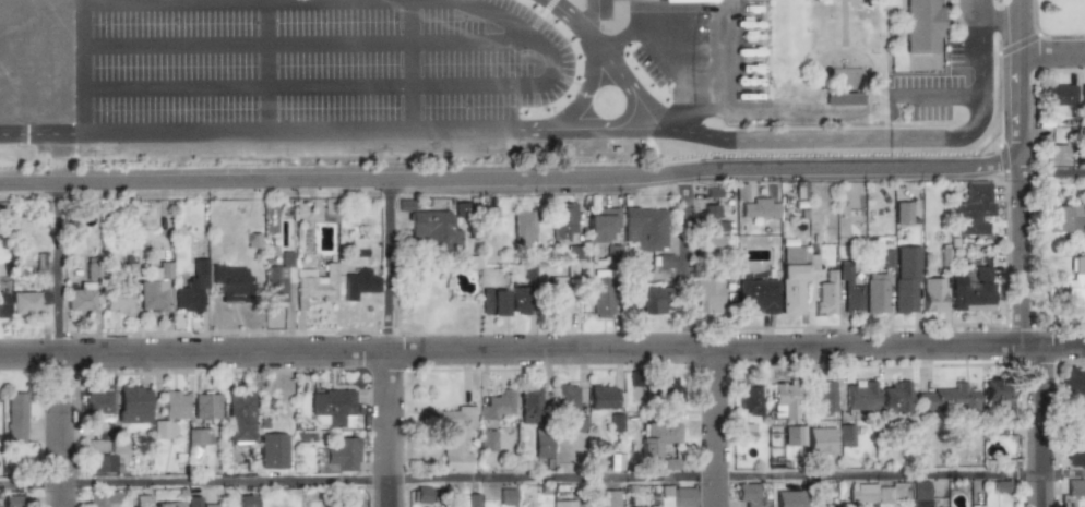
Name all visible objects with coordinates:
building: (683, 0)
road: (308, 2)
road: (982, 9)
road: (593, 17)
road: (1000, 17)
building: (922, 25)
road: (1017, 27)
road: (582, 29)
road: (305, 44)
road: (675, 51)
road: (1050, 53)
road: (725, 55)
road: (409, 64)
road: (80, 67)
road: (266, 67)
road: (610, 68)
building: (851, 82)
road: (341, 87)
road: (1017, 94)
building: (1082, 95)
road: (940, 96)
building: (1058, 97)
building: (843, 99)
road: (806, 110)
road: (587, 128)
road: (299, 131)
road: (680, 133)
road: (40, 135)
road: (897, 138)
road: (1017, 145)
building: (1054, 155)
road: (1017, 166)
road: (60, 167)
road: (849, 169)
road: (1051, 174)
road: (341, 180)
building: (758, 208)
building: (970, 210)
building: (901, 214)
building: (1064, 218)
building: (710, 219)
building: (562, 221)
building: (522, 225)
building: (599, 225)
building: (644, 228)
building: (429, 230)
building: (711, 243)
building: (355, 248)
building: (790, 254)
road: (684, 258)
building: (886, 259)
building: (664, 262)
road: (389, 265)
building: (43, 268)
road: (60, 268)
building: (90, 270)
building: (277, 279)
building: (904, 279)
building: (230, 282)
building: (155, 283)
building: (357, 283)
building: (1075, 283)
building: (313, 286)
building: (191, 288)
building: (790, 288)
building: (848, 290)
building: (973, 291)
building: (119, 292)
building: (601, 293)
building: (874, 293)
building: (706, 294)
building: (825, 294)
building: (557, 295)
building: (756, 295)
building: (931, 295)
building: (518, 300)
building: (653, 301)
building: (491, 302)
building: (25, 303)
building: (2, 304)
building: (633, 304)
road: (1032, 341)
road: (541, 349)
building: (1073, 382)
building: (668, 390)
building: (997, 393)
building: (860, 395)
building: (826, 396)
building: (895, 397)
building: (565, 398)
building: (605, 398)
building: (749, 398)
building: (949, 398)
building: (784, 400)
building: (97, 403)
building: (133, 406)
building: (174, 406)
building: (205, 406)
building: (497, 406)
building: (529, 406)
building: (333, 407)
building: (1083, 410)
building: (239, 414)
building: (15, 418)
road: (717, 426)
road: (390, 428)
road: (62, 430)
building: (164, 430)
building: (747, 431)
building: (795, 435)
building: (846, 435)
building: (199, 436)
building: (455, 438)
building: (656, 438)
building: (488, 440)
building: (820, 440)
building: (541, 444)
building: (1076, 447)
building: (273, 451)
building: (344, 455)
building: (106, 458)
building: (613, 462)
road: (541, 479)
building: (1075, 486)
building: (747, 494)
building: (861, 494)
building: (920, 494)
building: (421, 495)
building: (505, 496)
building: (682, 497)
building: (103, 498)
building: (607, 498)
building: (789, 498)
building: (12, 500)
building: (248, 500)
building: (193, 502)
building: (169, 504)
building: (562, 504)

